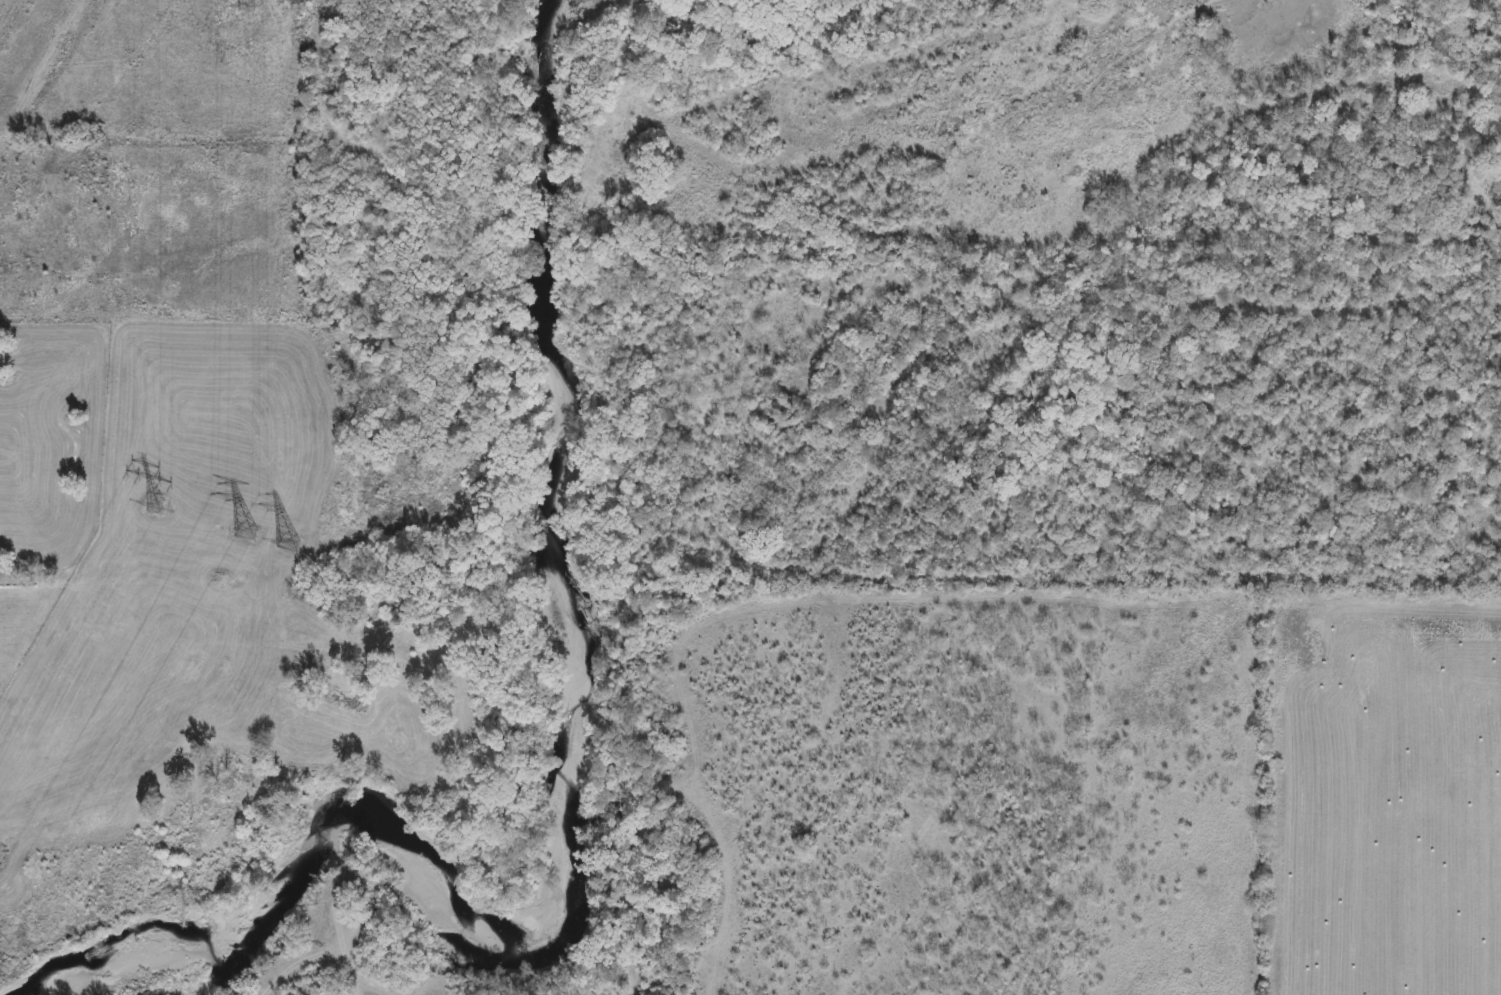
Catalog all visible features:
power tower: (246, 6)
power tower: (157, 504)
power tower: (249, 531)
power tower: (0, 962)

